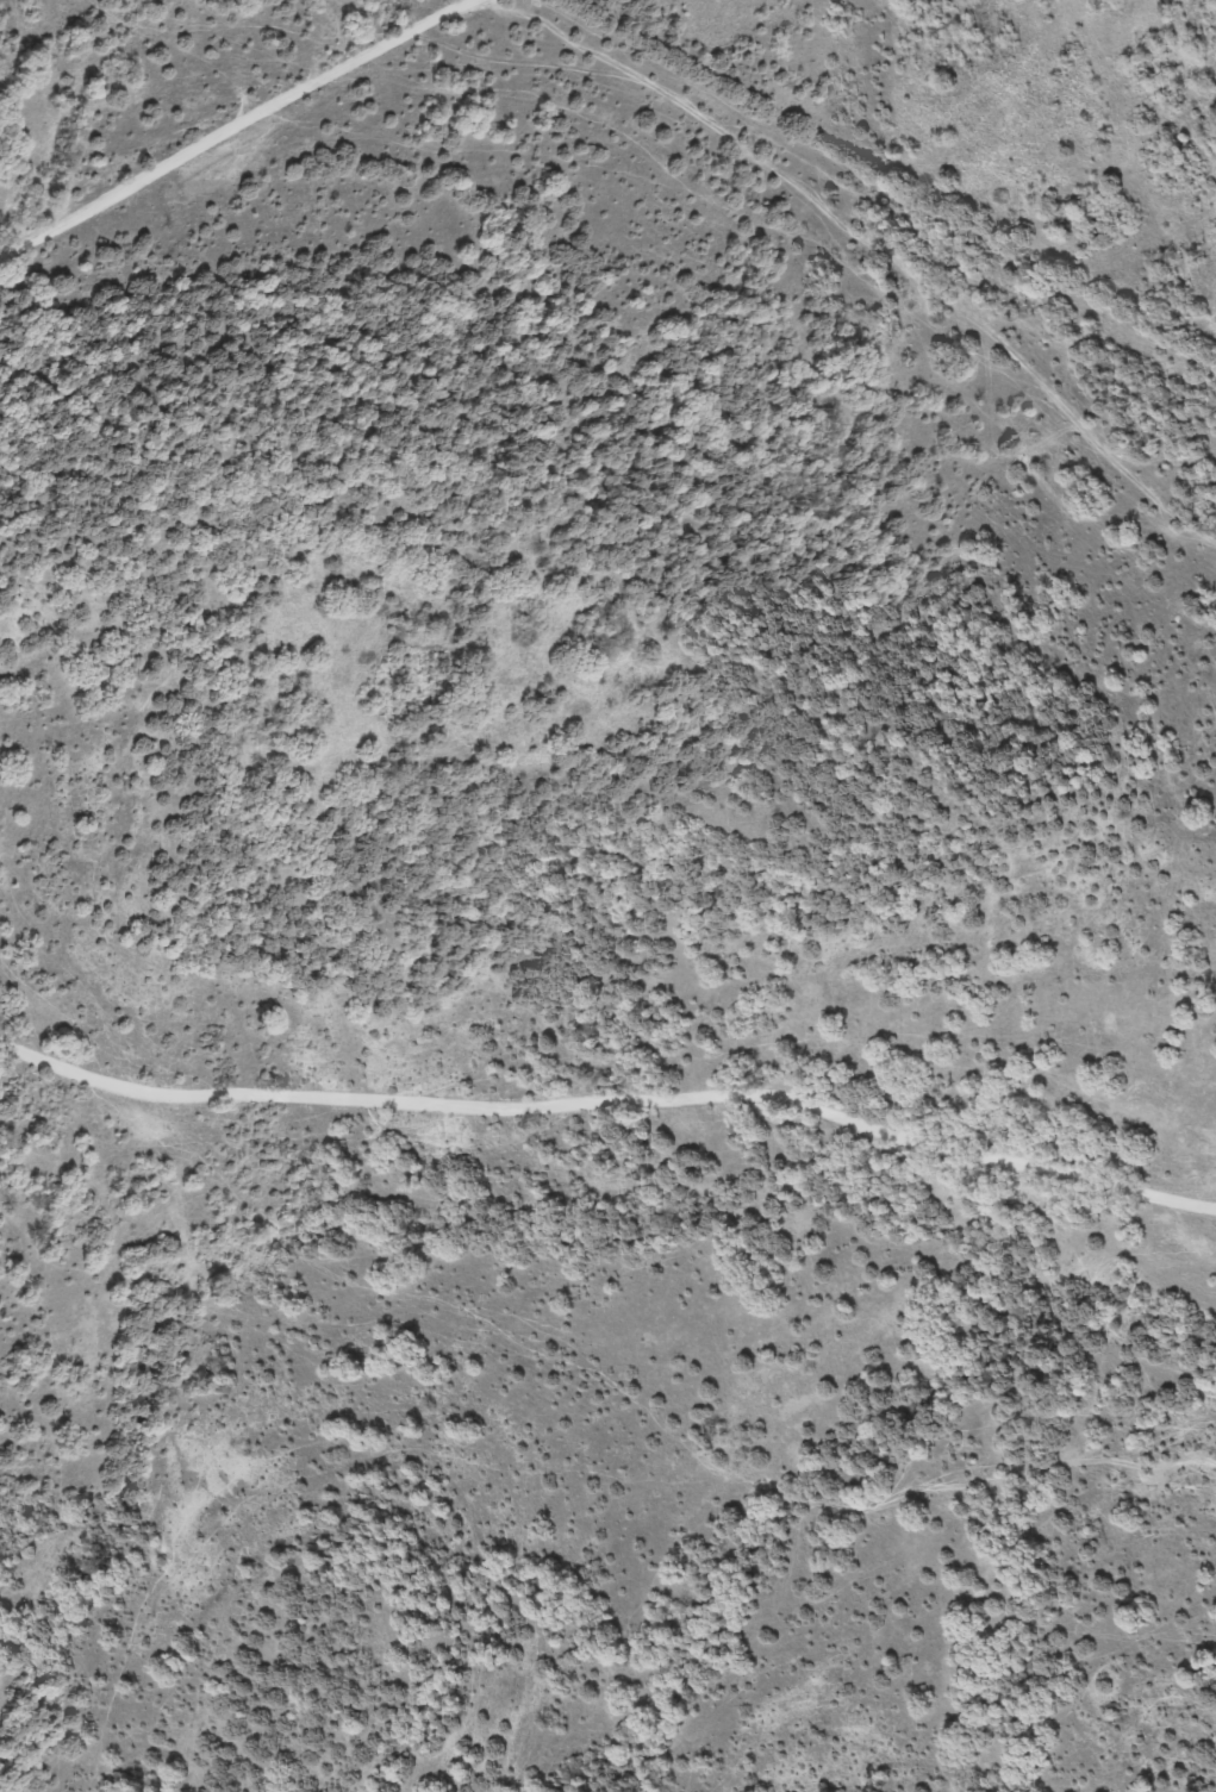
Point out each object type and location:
road: (214, 121)
road: (616, 1082)

